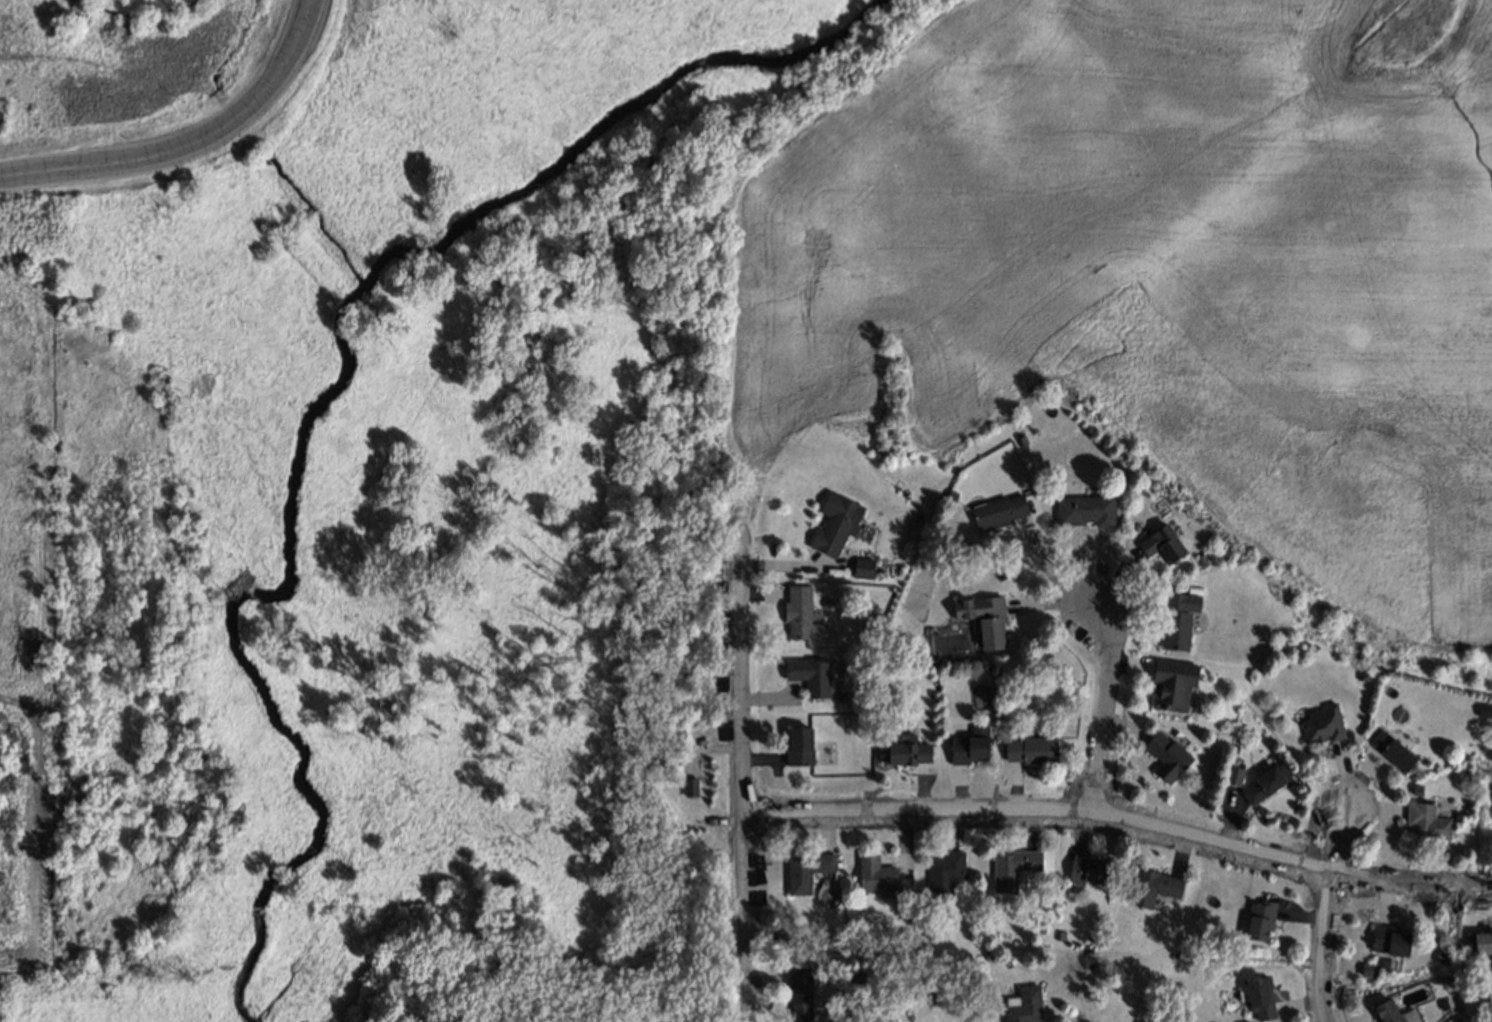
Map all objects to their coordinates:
road: (188, 136)
building: (1018, 439)
building: (948, 493)
building: (1083, 509)
building: (995, 510)
building: (833, 522)
building: (1160, 543)
building: (1199, 559)
building: (865, 565)
road: (1051, 580)
building: (795, 611)
building: (981, 618)
building: (1175, 618)
building: (883, 667)
building: (807, 674)
building: (1360, 675)
building: (1170, 684)
building: (838, 694)
building: (1483, 709)
road: (1104, 711)
building: (1320, 723)
building: (796, 745)
building: (968, 745)
building: (901, 746)
building: (1029, 748)
building: (1390, 749)
building: (1164, 754)
building: (1233, 776)
building: (1263, 783)
building: (688, 784)
road: (742, 790)
road: (1120, 819)
building: (1423, 820)
building: (1010, 867)
building: (804, 869)
building: (1084, 869)
building: (942, 871)
building: (872, 873)
building: (1151, 885)
road: (1329, 911)
building: (1257, 918)
building: (1037, 925)
building: (1055, 933)
building: (905, 938)
building: (1386, 939)
building: (1478, 941)
building: (986, 955)
building: (1439, 956)
building: (1364, 968)
building: (855, 975)
building: (928, 986)
building: (798, 996)
building: (1257, 997)
building: (1440, 1004)
building: (1021, 1005)
building: (1384, 1011)
building: (1244, 1021)

